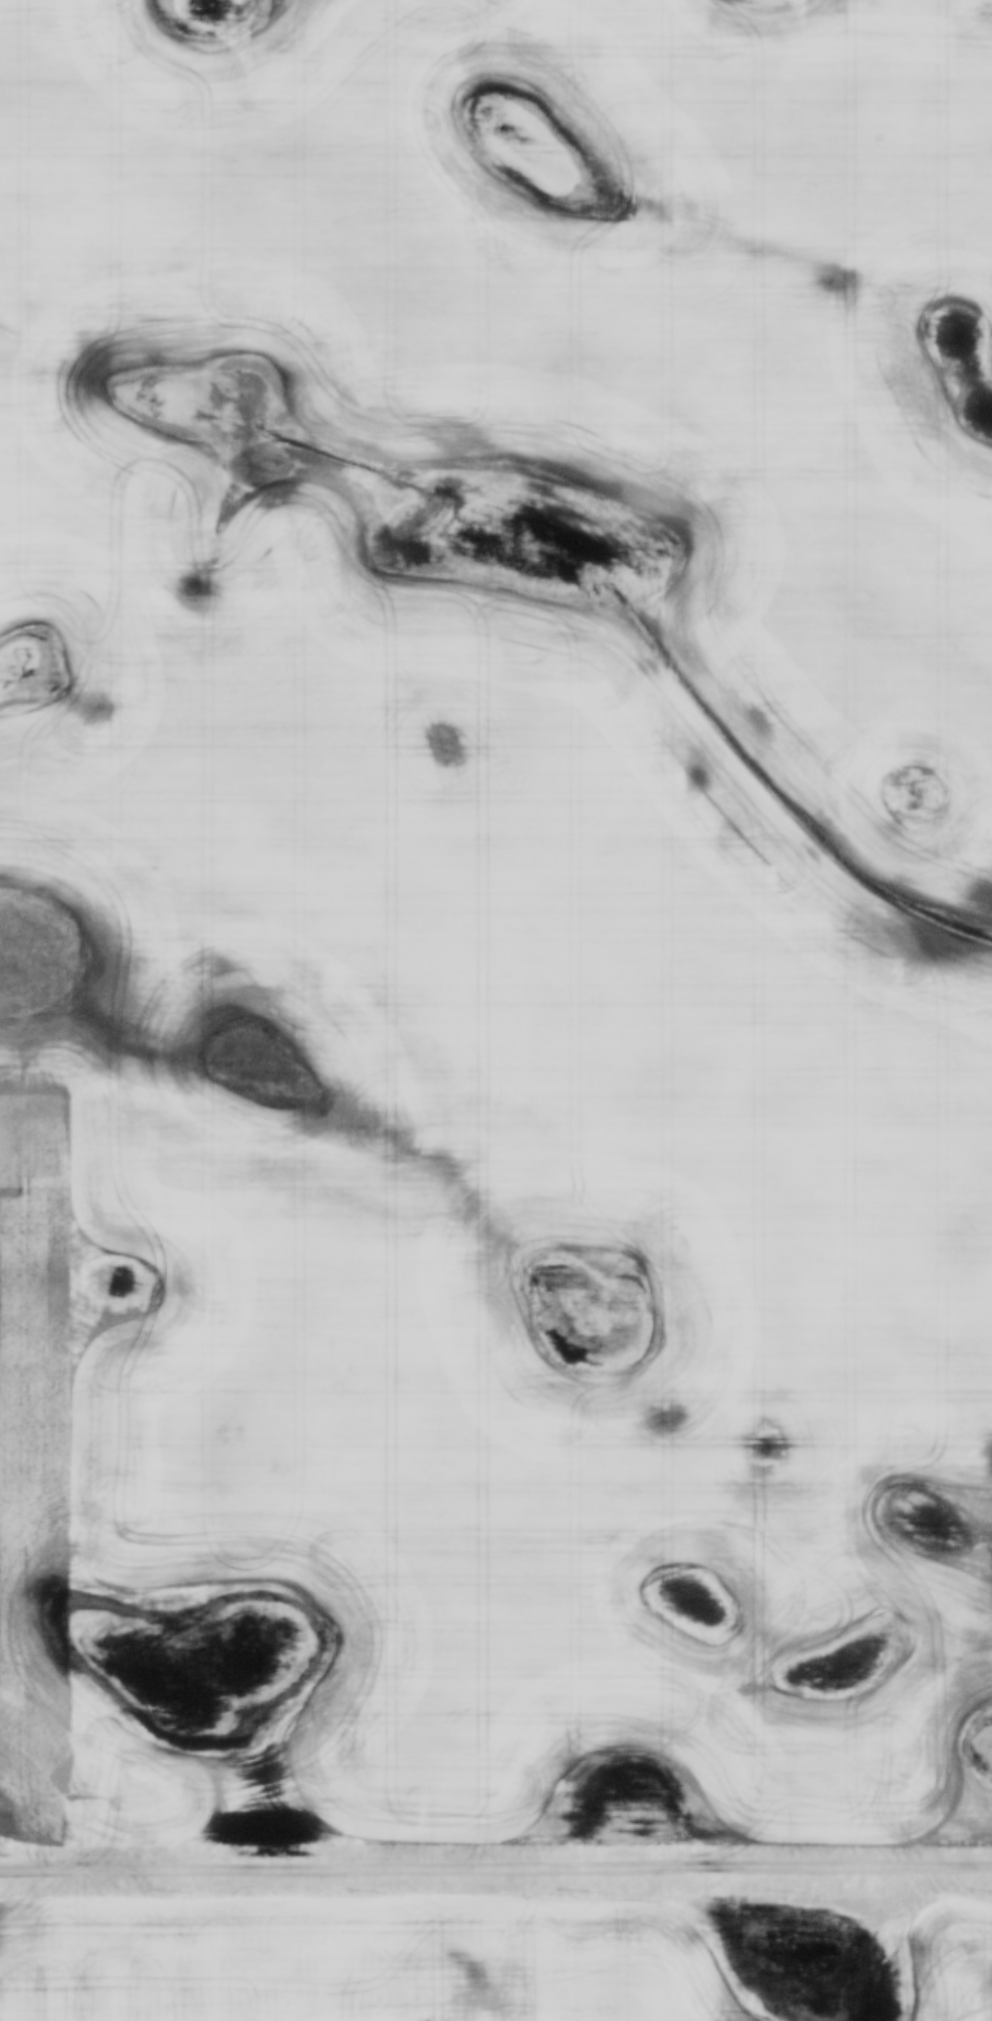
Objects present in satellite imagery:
road: (496, 1867)

